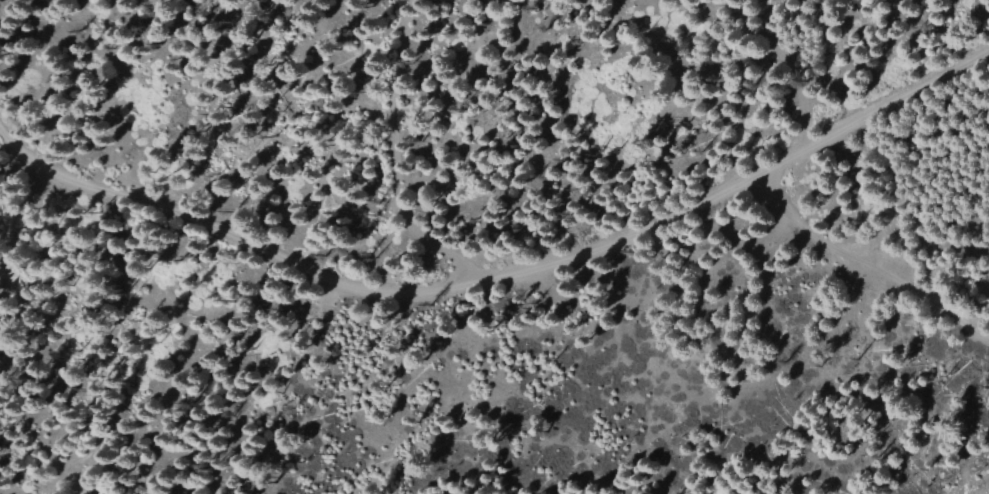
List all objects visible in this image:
road: (863, 272)
road: (502, 275)

